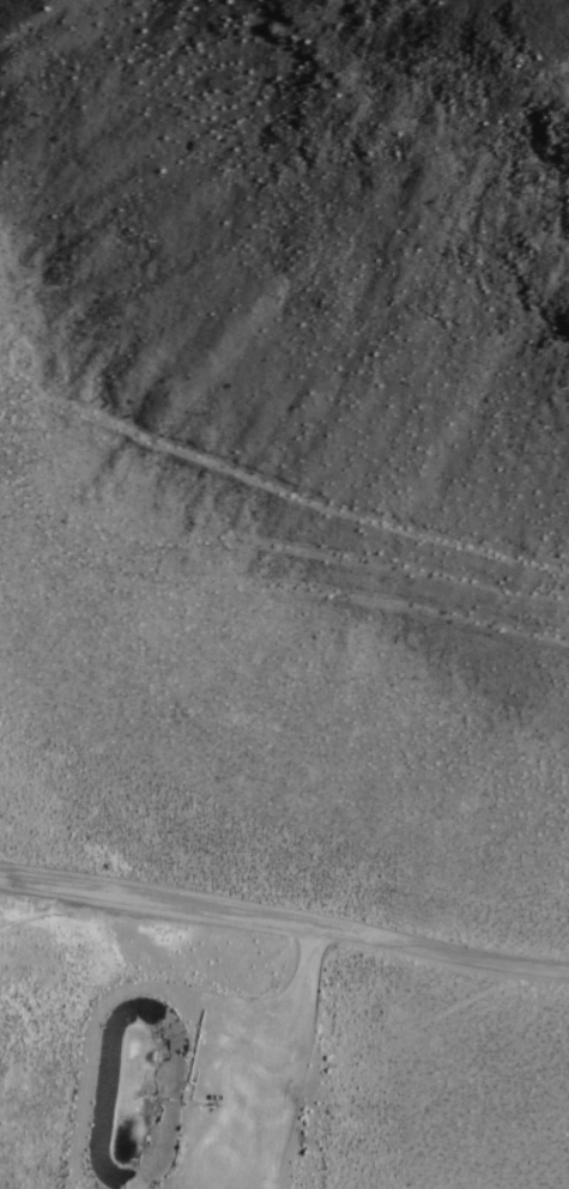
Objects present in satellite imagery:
road: (284, 922)

